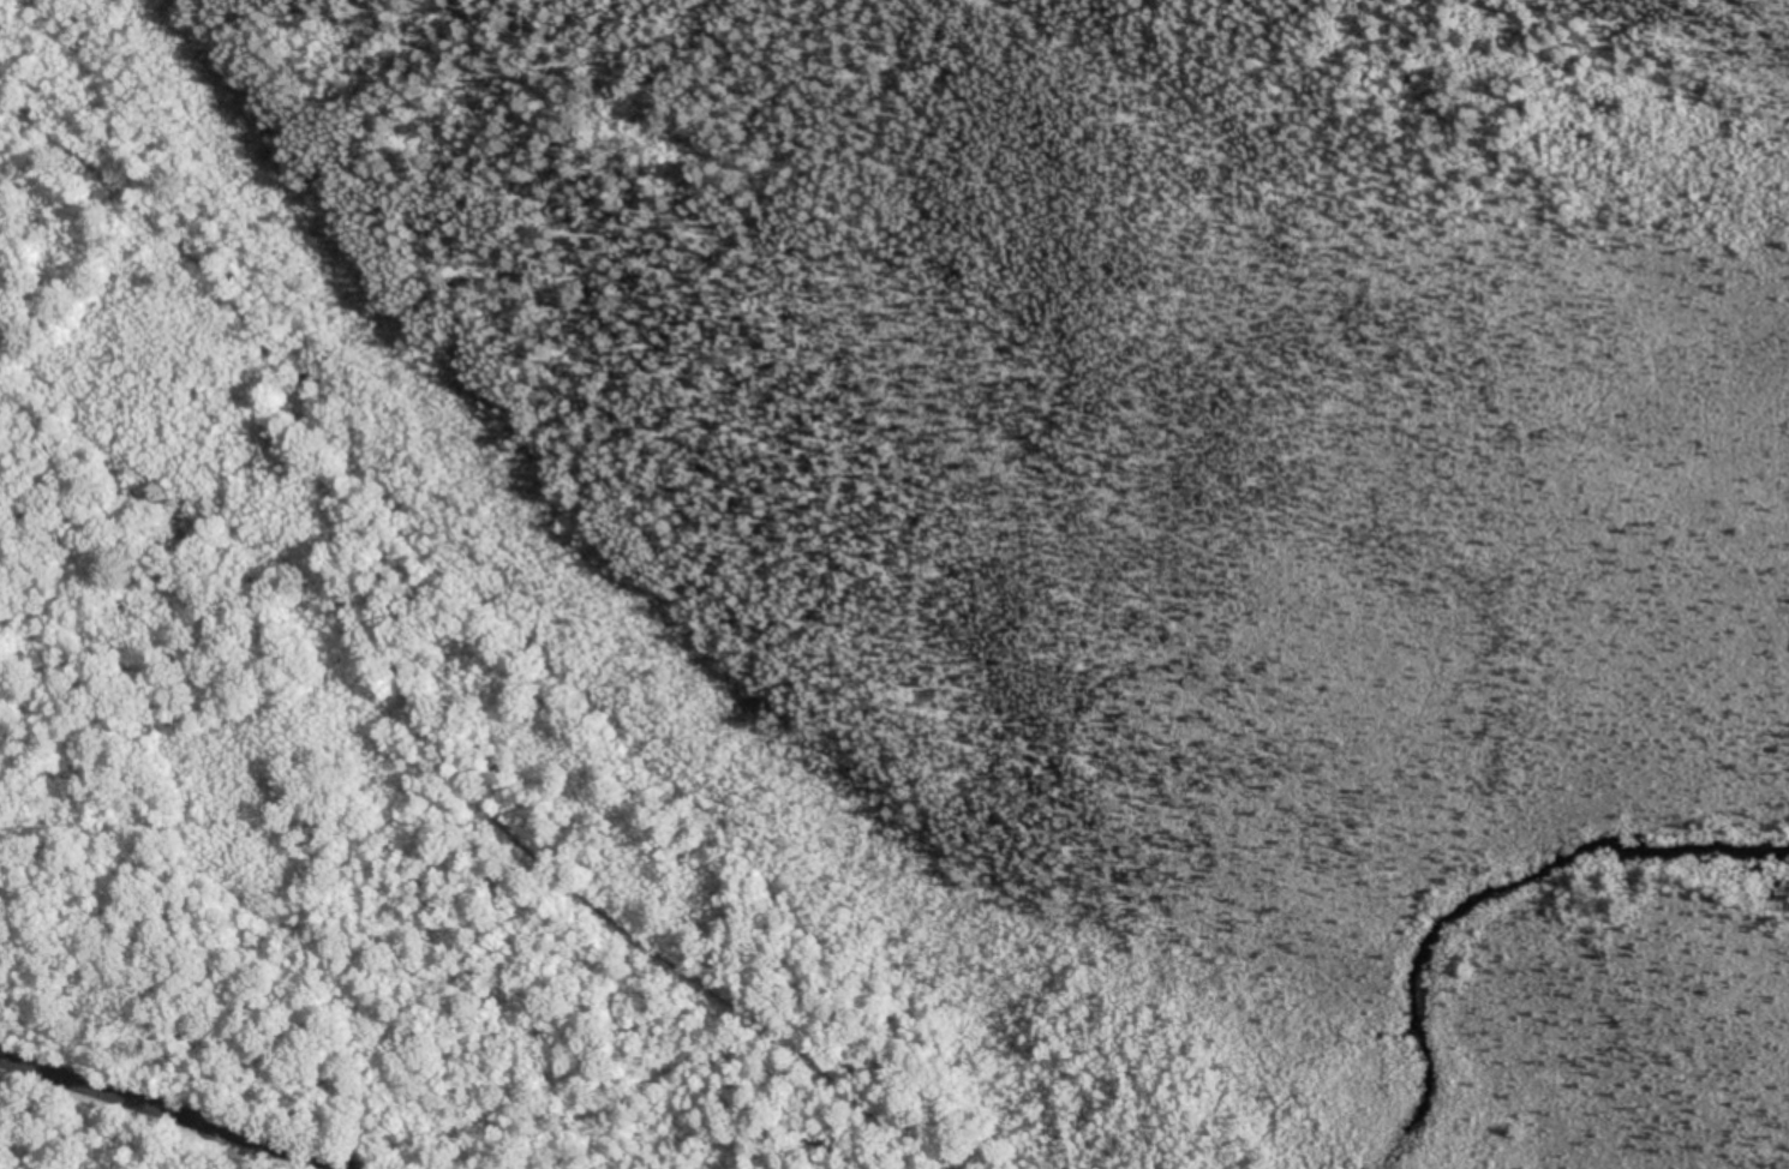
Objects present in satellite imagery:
road: (193, 1104)

